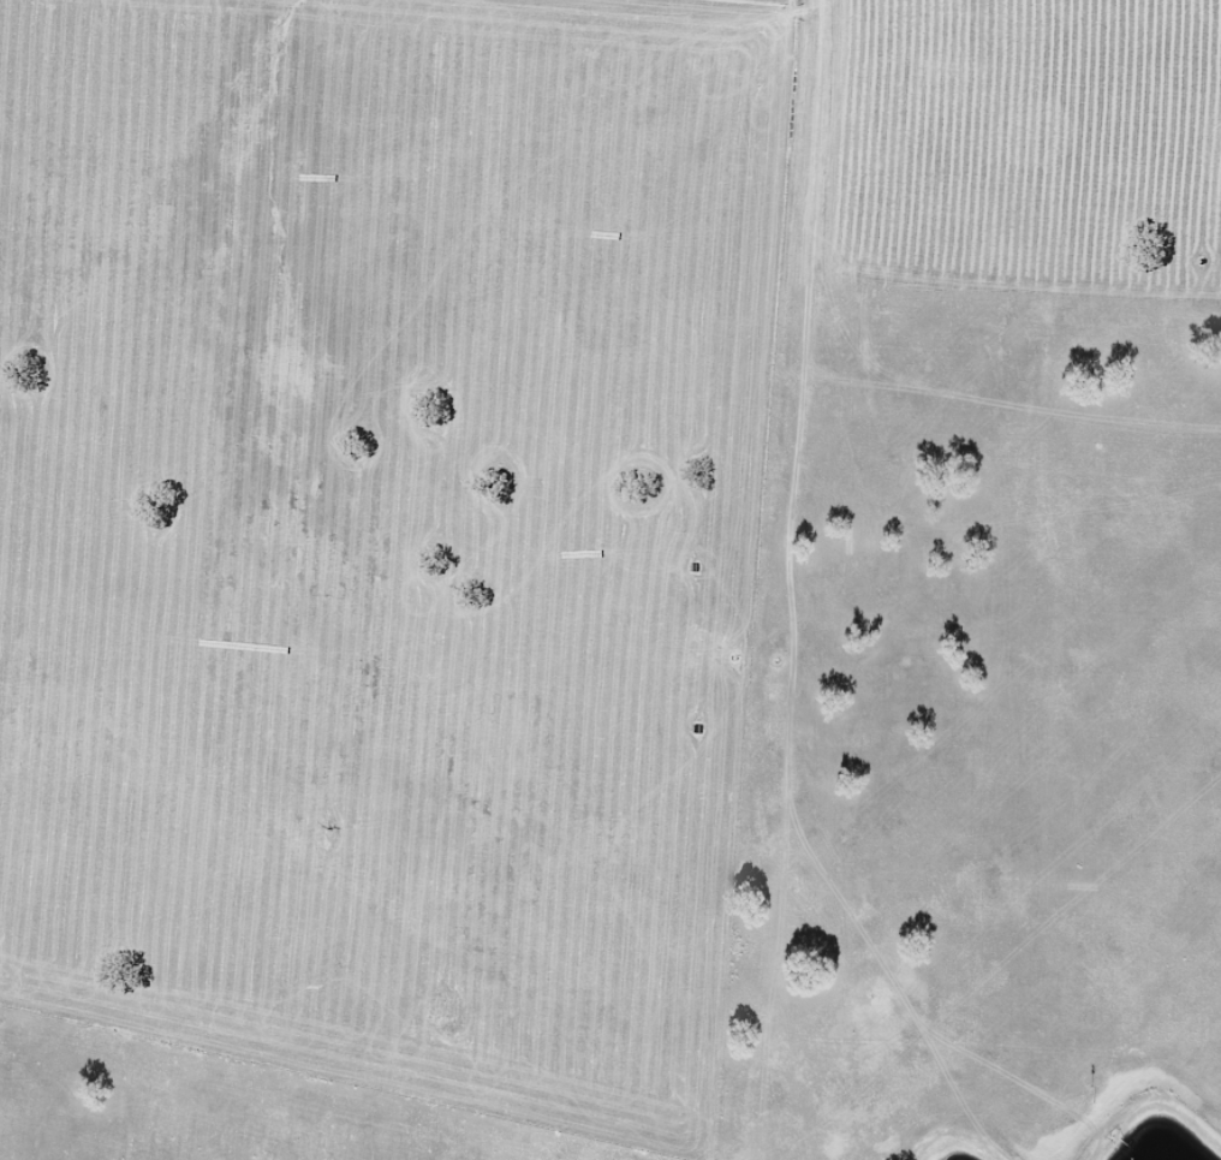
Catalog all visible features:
road: (788, 579)

